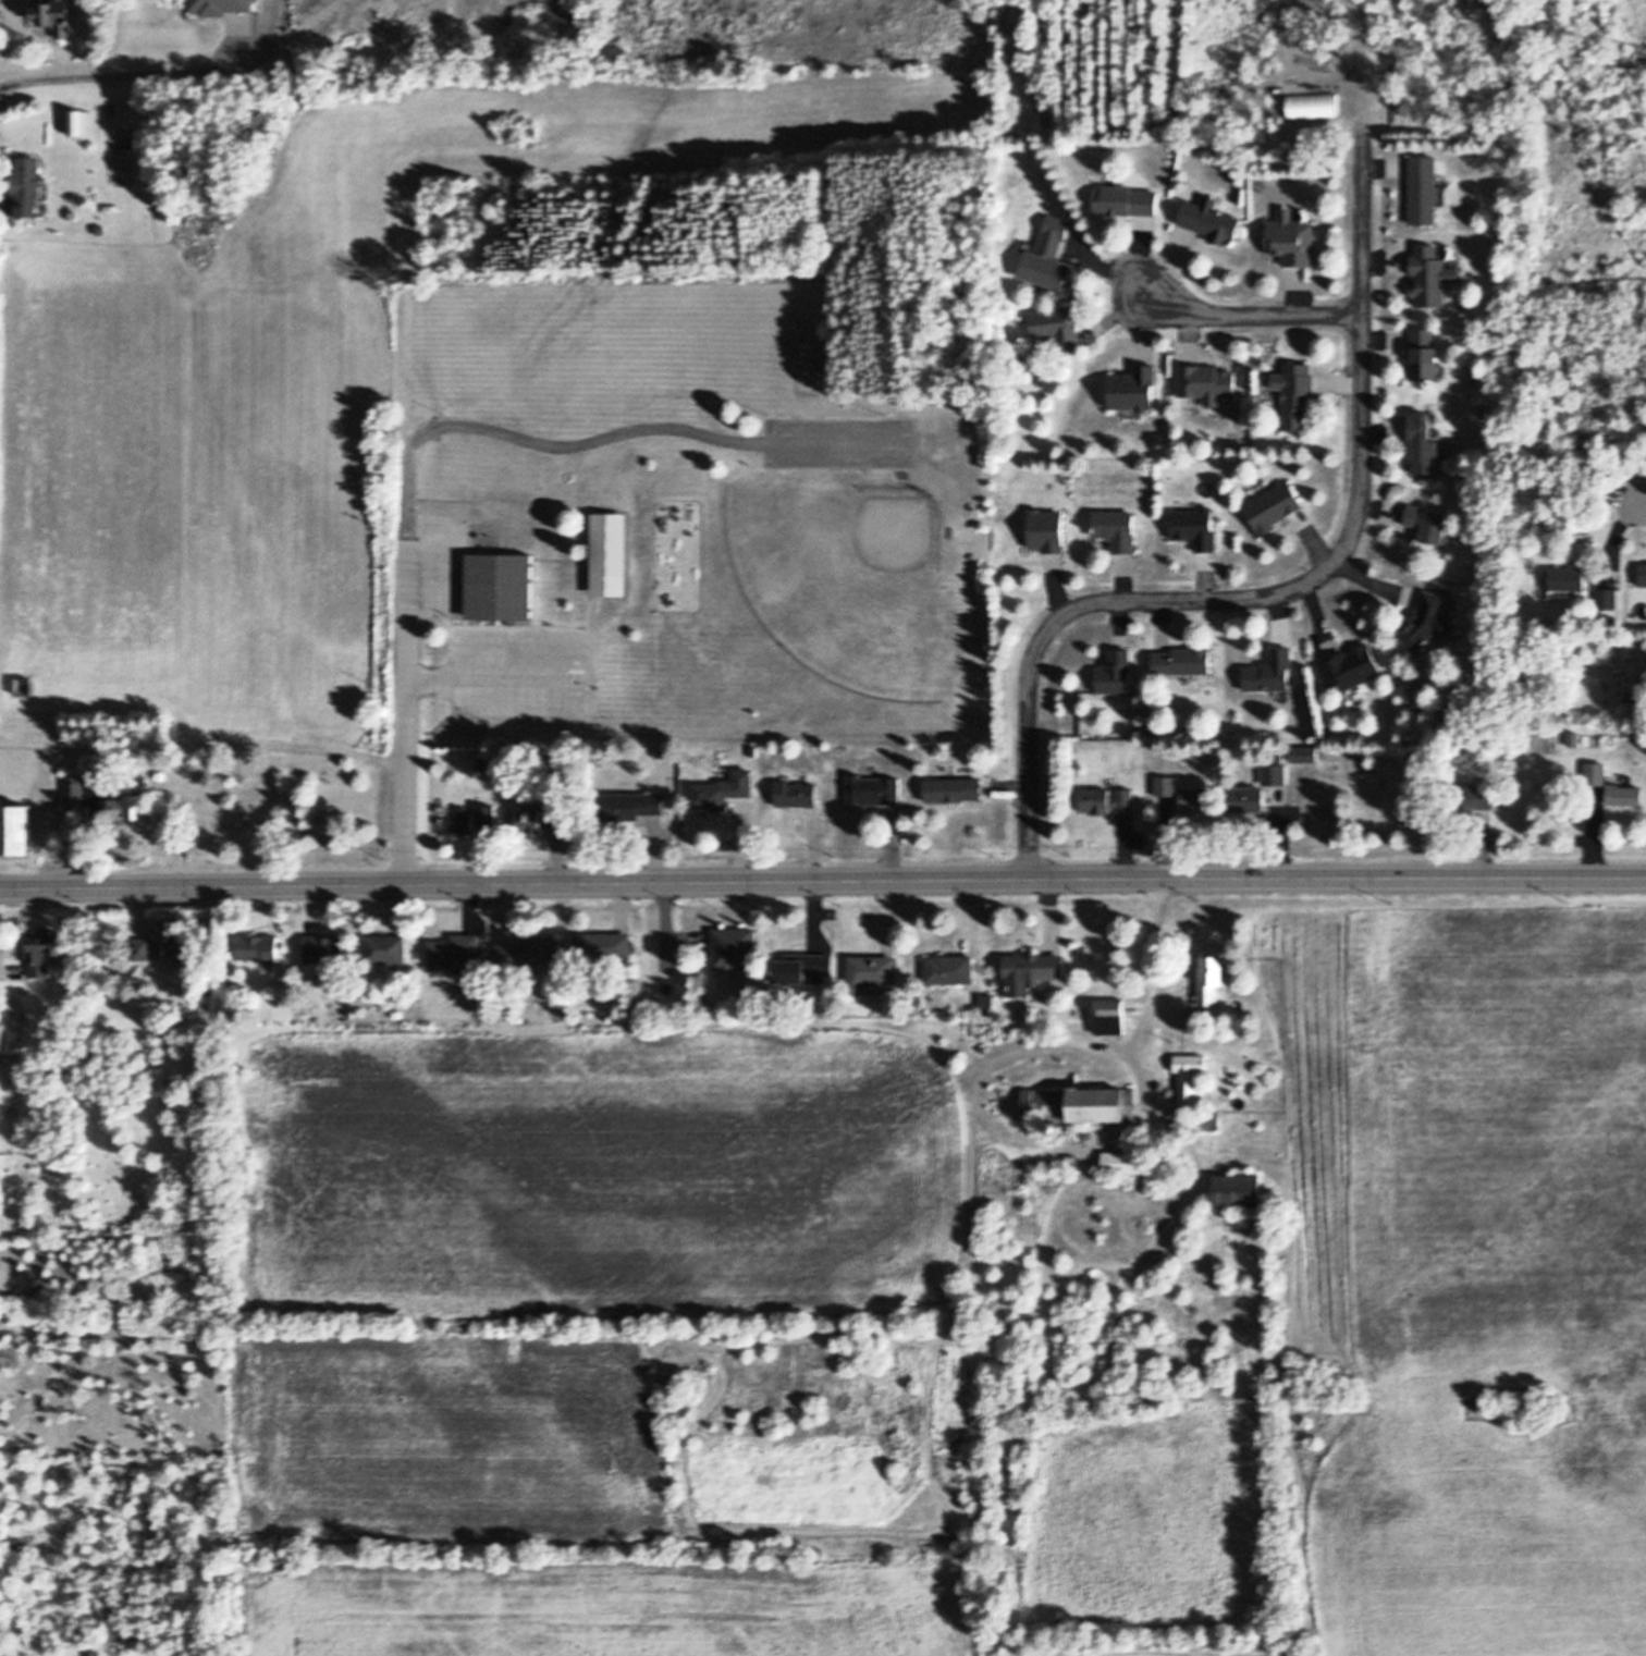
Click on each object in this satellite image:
building: (222, 5)
building: (202, 14)
building: (58, 16)
building: (1004, 17)
building: (34, 19)
crop: (800, 35)
road: (181, 74)
building: (1033, 79)
building: (1034, 102)
building: (78, 123)
building: (27, 185)
building: (1427, 188)
building: (1127, 198)
building: (41, 203)
building: (1212, 219)
building: (100, 230)
building: (58, 231)
building: (1294, 237)
building: (1051, 256)
building: (1435, 274)
road: (1250, 315)
building: (1055, 327)
building: (1427, 355)
building: (1208, 381)
building: (1134, 388)
building: (1299, 392)
road: (639, 429)
parking lot: (838, 442)
building: (1427, 446)
building: (880, 474)
building: (896, 476)
park: (735, 500)
building: (1189, 506)
building: (1277, 506)
road: (1643, 506)
building: (1435, 522)
building: (1118, 528)
building: (1200, 528)
building: (1046, 532)
building: (1457, 533)
building: (947, 536)
building: (610, 554)
building: (1489, 575)
building: (1644, 575)
building: (1565, 578)
park: (846, 579)
building: (499, 586)
building: (1559, 593)
road: (1275, 597)
building: (1606, 599)
building: (1429, 621)
building: (1610, 622)
building: (1186, 660)
road: (580, 661)
building: (1644, 661)
building: (1354, 666)
building: (1274, 671)
building: (1116, 673)
road: (423, 674)
road: (405, 676)
building: (1574, 739)
road: (204, 744)
building: (751, 750)
building: (660, 752)
building: (1309, 753)
building: (1285, 757)
building: (161, 762)
building: (481, 763)
building: (159, 773)
building: (1277, 774)
building: (1619, 780)
building: (1484, 781)
building: (1167, 785)
building: (1612, 787)
building: (954, 788)
building: (875, 789)
building: (73, 790)
building: (722, 790)
building: (796, 792)
building: (1469, 798)
building: (1108, 799)
building: (1249, 799)
building: (1195, 800)
building: (130, 806)
building: (627, 806)
building: (486, 814)
building: (554, 815)
building: (529, 817)
building: (464, 820)
building: (16, 829)
road: (822, 882)
building: (175, 943)
building: (603, 945)
building: (260, 946)
building: (734, 946)
building: (143, 948)
building: (325, 948)
building: (388, 948)
building: (530, 950)
building: (48, 952)
building: (456, 952)
road: (668, 952)
building: (60, 957)
building: (600, 964)
building: (272, 965)
building: (799, 968)
building: (949, 968)
building: (1033, 969)
building: (872, 970)
building: (1213, 979)
building: (324, 980)
building: (889, 980)
building: (931, 983)
building: (1041, 990)
road: (1148, 991)
building: (325, 992)
building: (987, 1003)
building: (1113, 1010)
building: (502, 1014)
building: (1125, 1020)
road: (1081, 1038)
building: (5, 1039)
building: (985, 1048)
building: (1074, 1079)
building: (1169, 1089)
building: (1195, 1092)
building: (1079, 1104)
building: (1055, 1128)
building: (1167, 1156)
building: (1131, 1158)
building: (1238, 1189)
building: (1317, 1367)
building: (1324, 1407)

